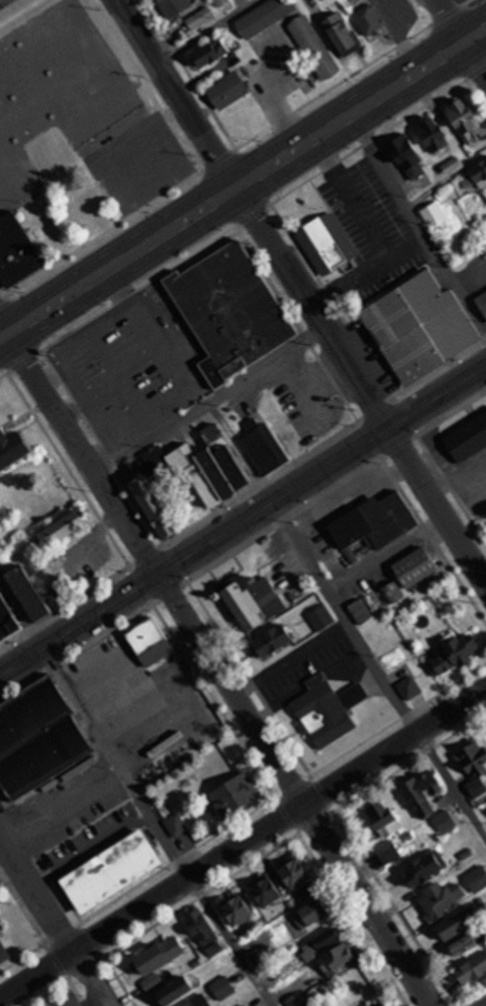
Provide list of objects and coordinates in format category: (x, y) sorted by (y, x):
building: (220, 2)
building: (173, 6)
road: (17, 11)
building: (264, 16)
building: (199, 17)
building: (370, 19)
road: (205, 30)
road: (476, 32)
building: (341, 33)
road: (400, 36)
road: (462, 36)
road: (476, 40)
building: (313, 46)
building: (211, 53)
road: (188, 74)
building: (44, 75)
road: (146, 85)
building: (227, 90)
road: (176, 93)
road: (476, 95)
building: (463, 119)
building: (433, 134)
road: (234, 149)
building: (408, 157)
building: (1, 159)
building: (451, 165)
building: (476, 176)
road: (235, 188)
road: (351, 199)
building: (91, 213)
building: (433, 213)
road: (242, 220)
road: (418, 227)
parking lot: (370, 229)
building: (327, 247)
building: (19, 252)
road: (307, 262)
road: (368, 272)
road: (4, 287)
building: (482, 300)
building: (235, 315)
building: (414, 328)
road: (2, 330)
road: (2, 334)
road: (2, 335)
road: (163, 350)
road: (68, 365)
parking lot: (132, 366)
road: (52, 374)
road: (124, 381)
road: (111, 384)
road: (361, 385)
road: (301, 388)
parking lot: (305, 396)
parking lot: (485, 396)
road: (210, 402)
road: (359, 423)
building: (468, 438)
building: (262, 445)
building: (12, 448)
building: (228, 459)
road: (439, 472)
building: (195, 473)
building: (216, 473)
parking lot: (462, 474)
road: (242, 493)
building: (154, 503)
road: (243, 521)
building: (374, 524)
building: (67, 532)
road: (242, 544)
road: (387, 558)
road: (155, 569)
building: (416, 569)
building: (393, 592)
building: (34, 593)
building: (250, 600)
building: (365, 608)
building: (321, 618)
building: (7, 619)
building: (152, 638)
building: (274, 641)
building: (460, 651)
road: (291, 660)
parking lot: (309, 666)
road: (99, 671)
road: (244, 671)
road: (376, 671)
road: (206, 689)
parking lot: (149, 708)
building: (327, 709)
road: (190, 711)
building: (41, 741)
road: (395, 747)
building: (474, 759)
road: (134, 789)
building: (421, 791)
building: (235, 795)
parking lot: (68, 804)
road: (65, 810)
road: (13, 813)
road: (243, 816)
building: (385, 818)
building: (444, 821)
building: (177, 825)
road: (0, 837)
parking lot: (95, 842)
road: (90, 849)
building: (388, 851)
road: (254, 858)
building: (425, 867)
building: (118, 870)
building: (294, 871)
building: (477, 878)
building: (266, 891)
building: (441, 899)
road: (152, 902)
road: (44, 904)
road: (368, 905)
building: (235, 908)
building: (322, 913)
building: (311, 914)
building: (457, 922)
building: (204, 930)
building: (468, 937)
road: (42, 938)
road: (93, 939)
building: (320, 943)
building: (5, 950)
building: (337, 956)
building: (159, 959)
building: (472, 969)
building: (223, 987)
road: (98, 990)
building: (173, 992)
building: (296, 1000)
parking lot: (65, 1001)
road: (96, 1002)
building: (190, 1003)
building: (197, 1003)
building: (385, 1003)
building: (243, 1005)

